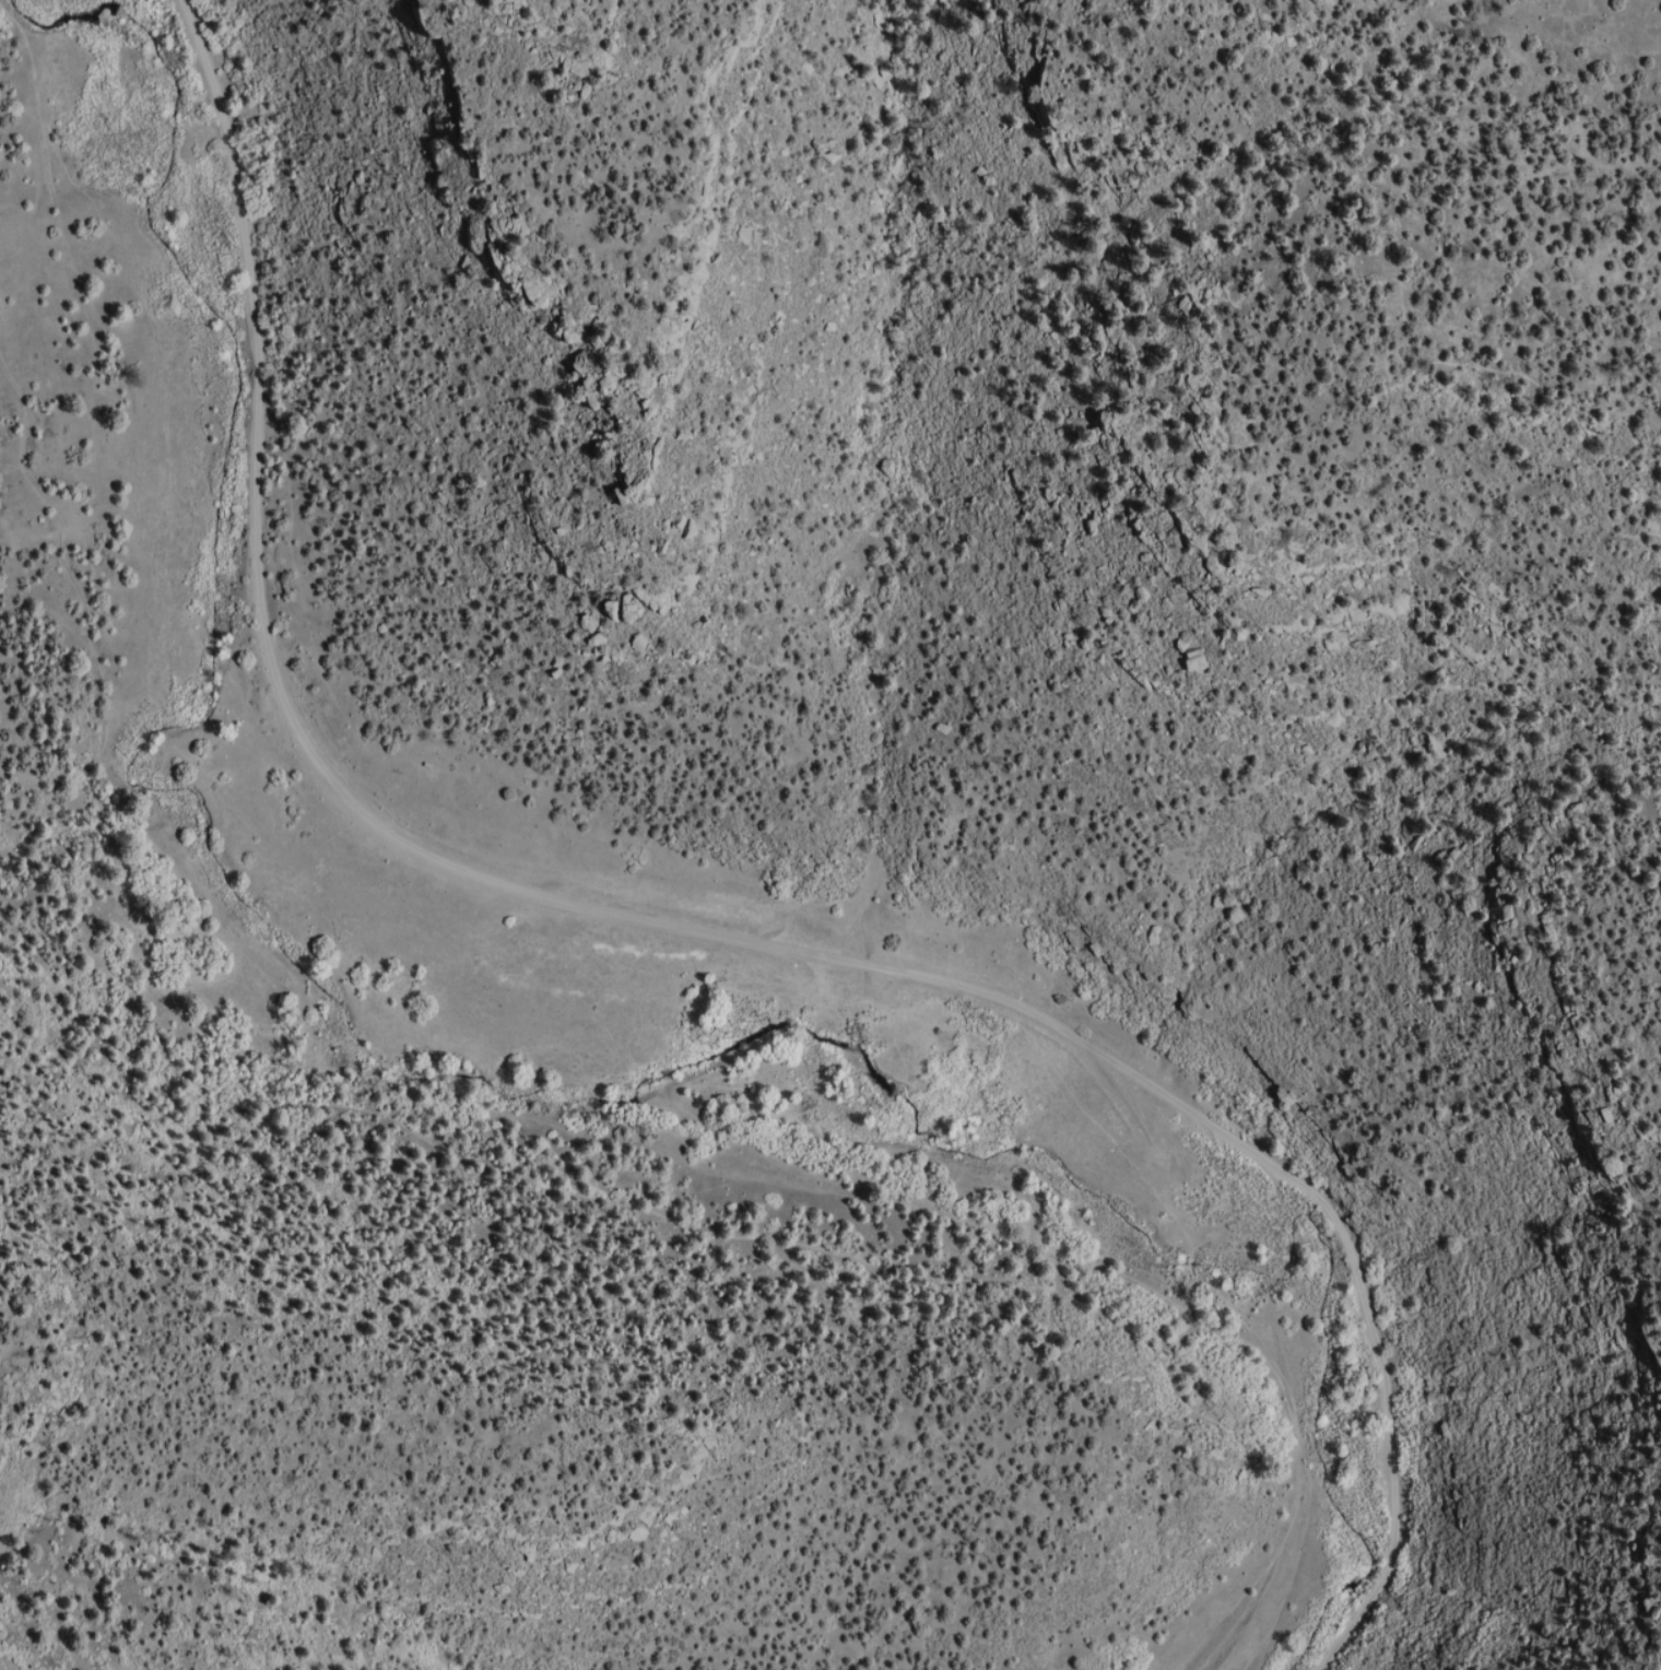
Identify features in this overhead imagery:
road: (1334, 348)
road: (281, 693)
building: (432, 766)
road: (1296, 772)
road: (160, 844)
road: (305, 856)
road: (235, 891)
road: (486, 1166)
road: (1328, 1206)

